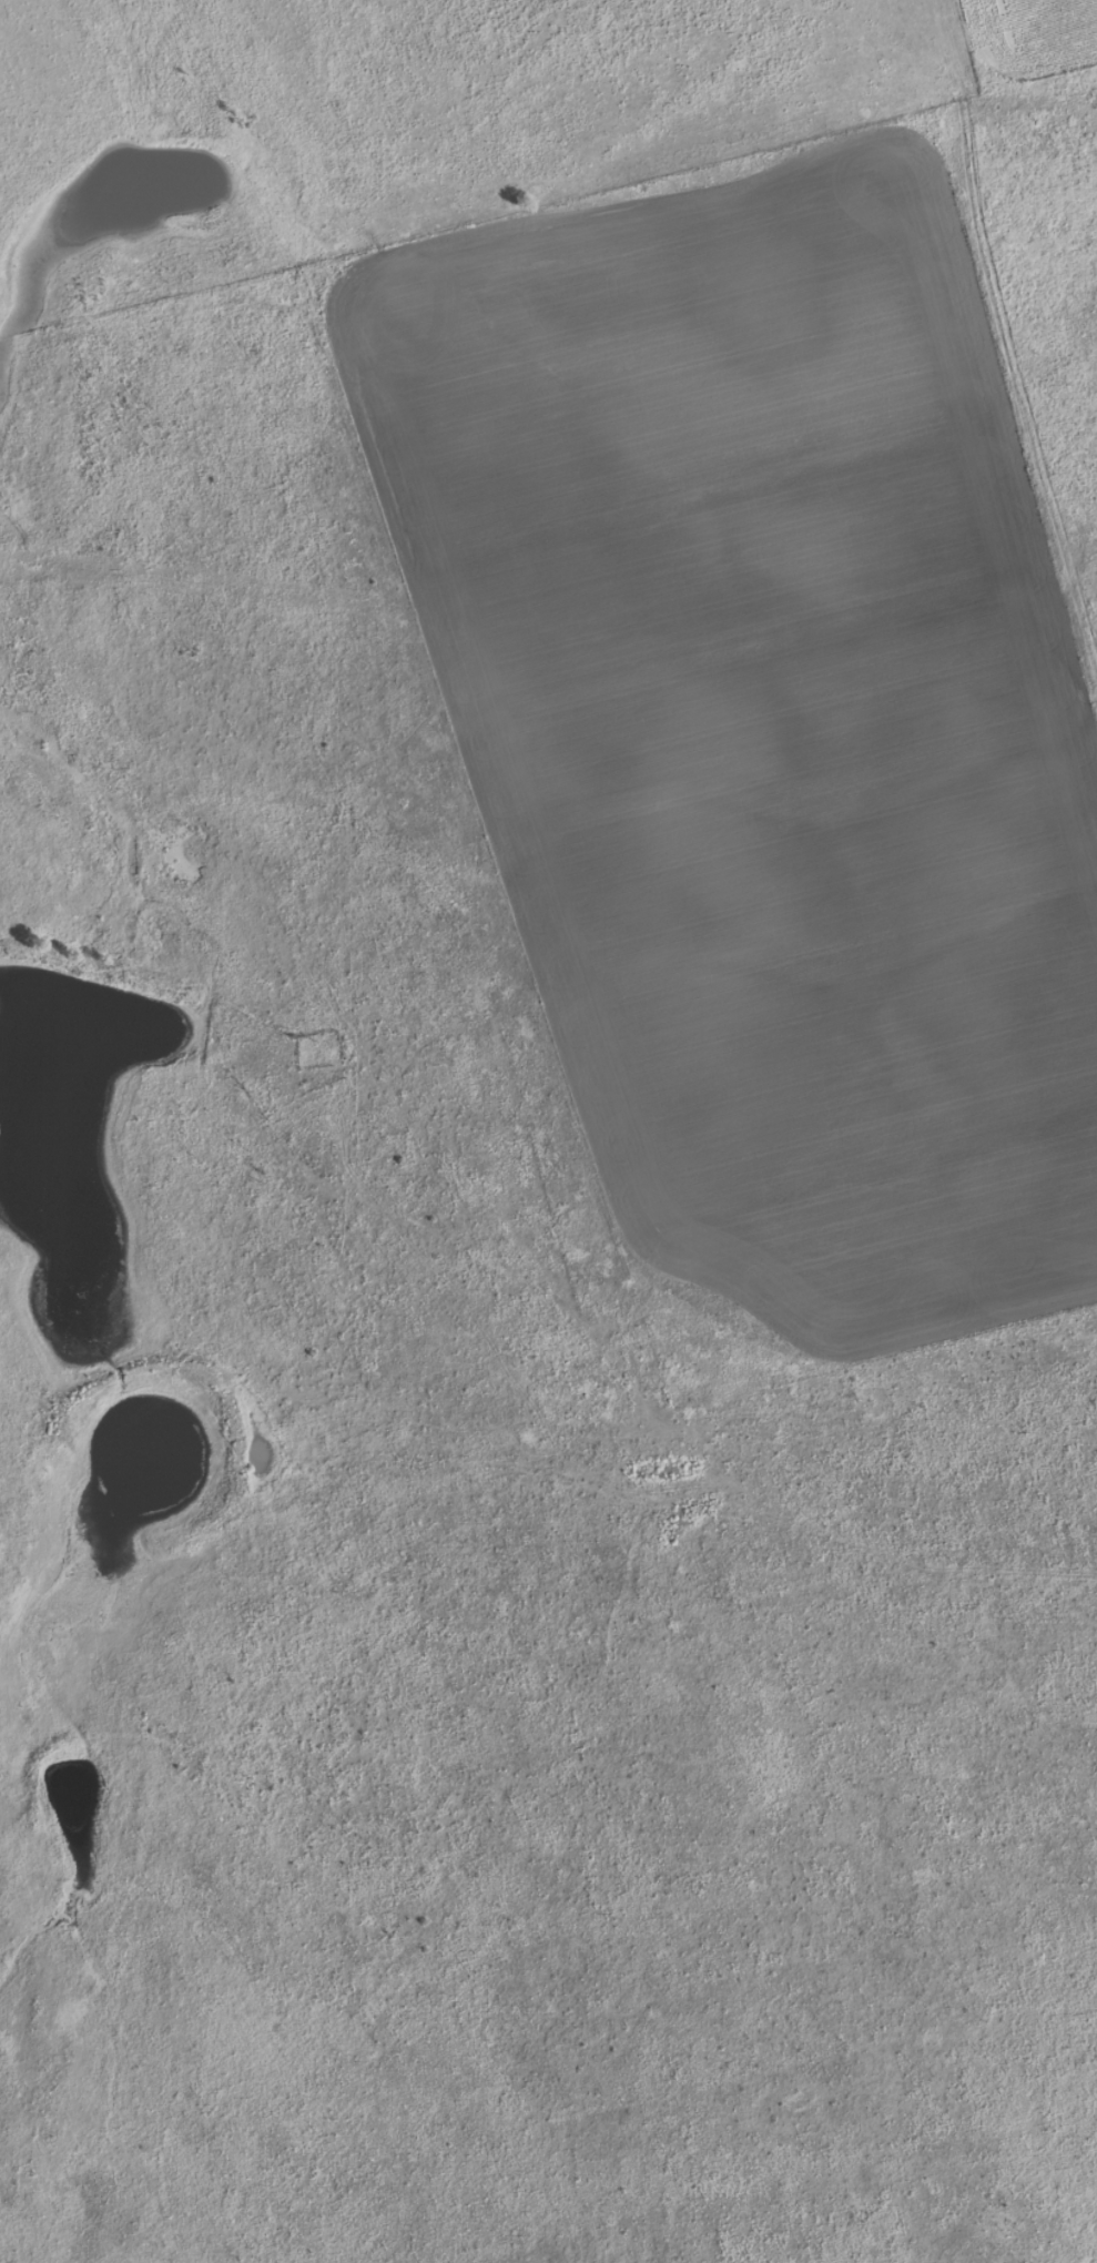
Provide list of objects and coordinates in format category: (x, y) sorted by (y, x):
road: (659, 1378)

